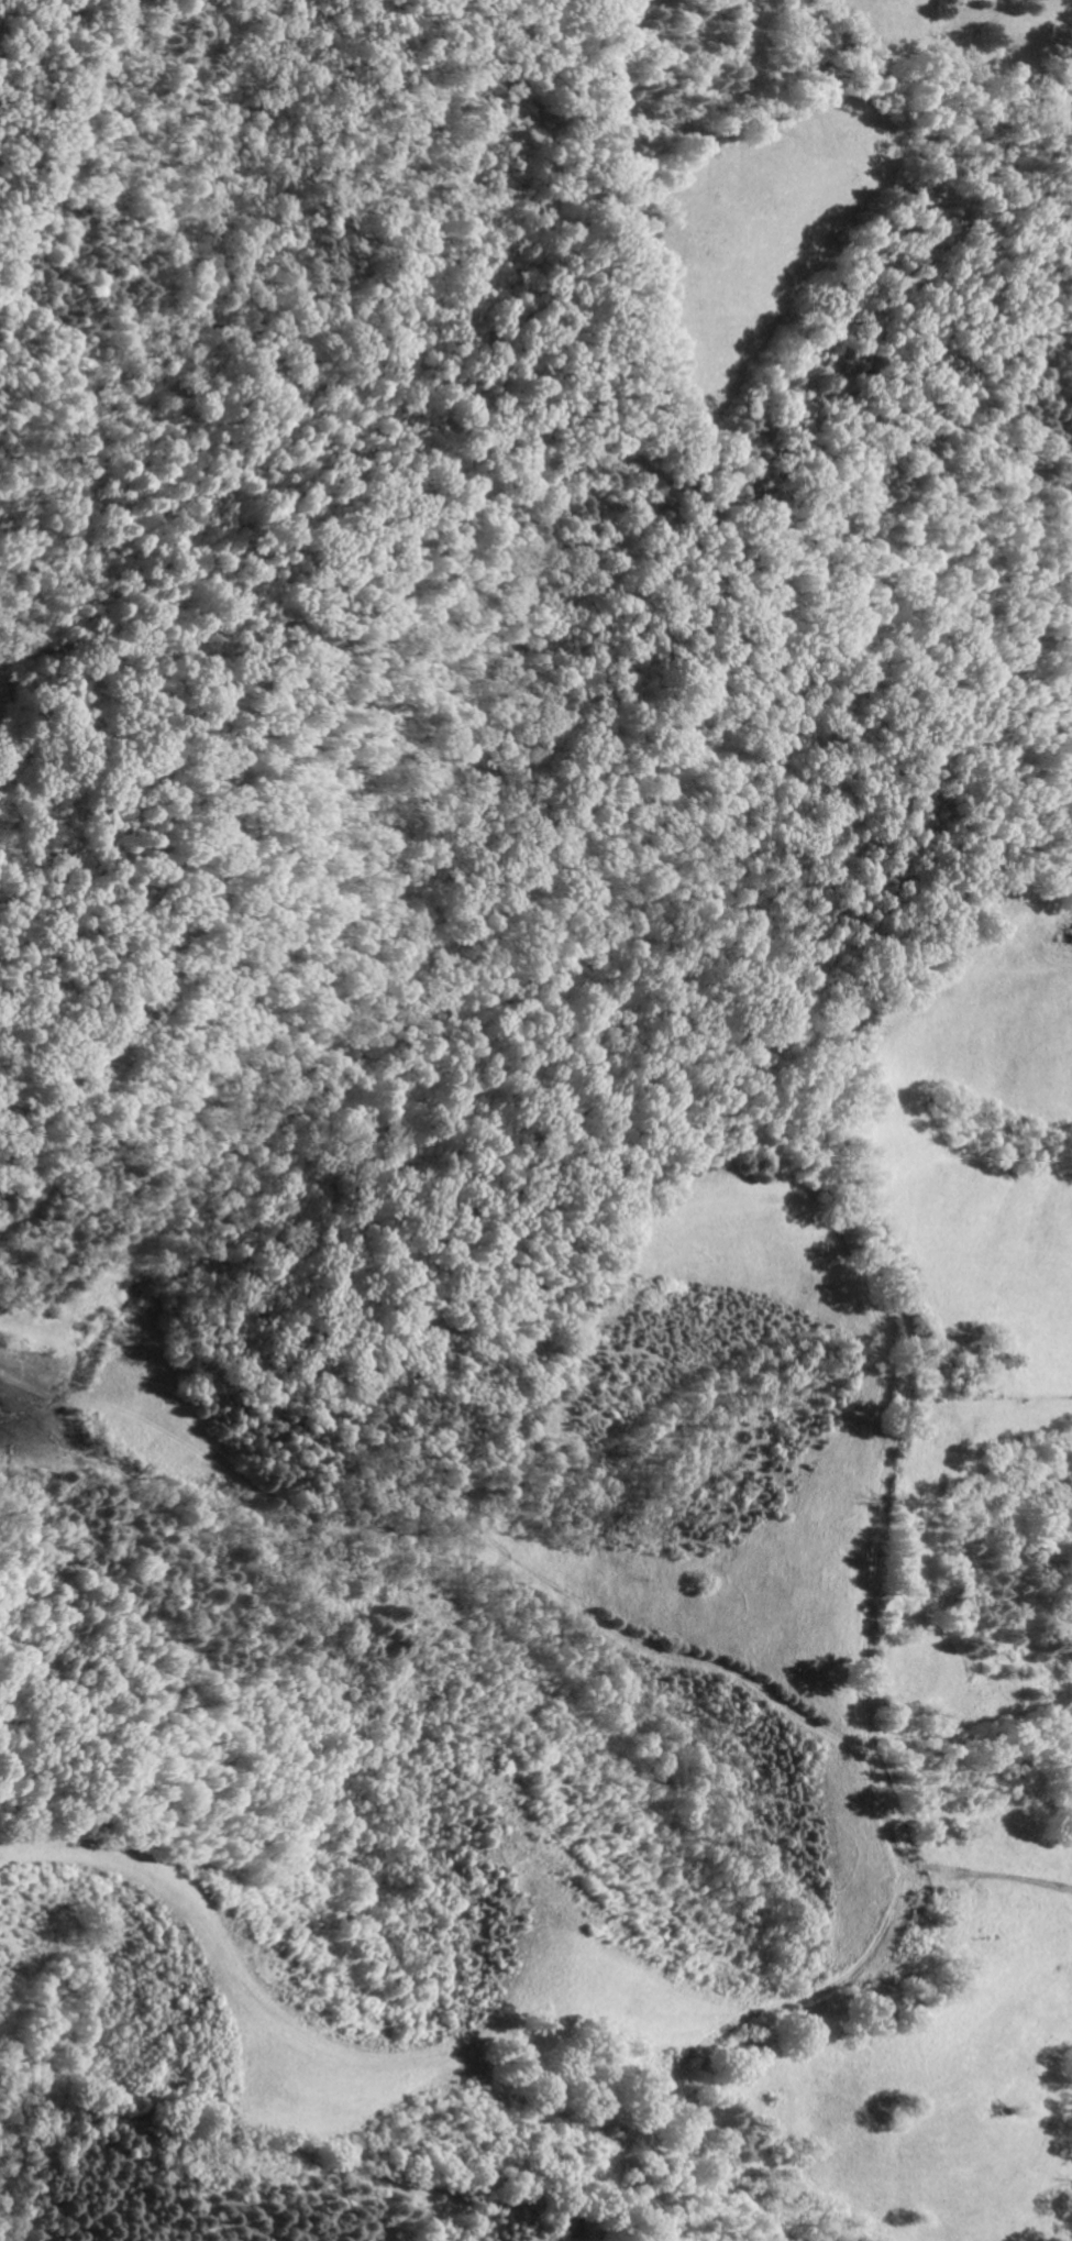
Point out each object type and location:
road: (1009, 1879)
road: (860, 1989)

